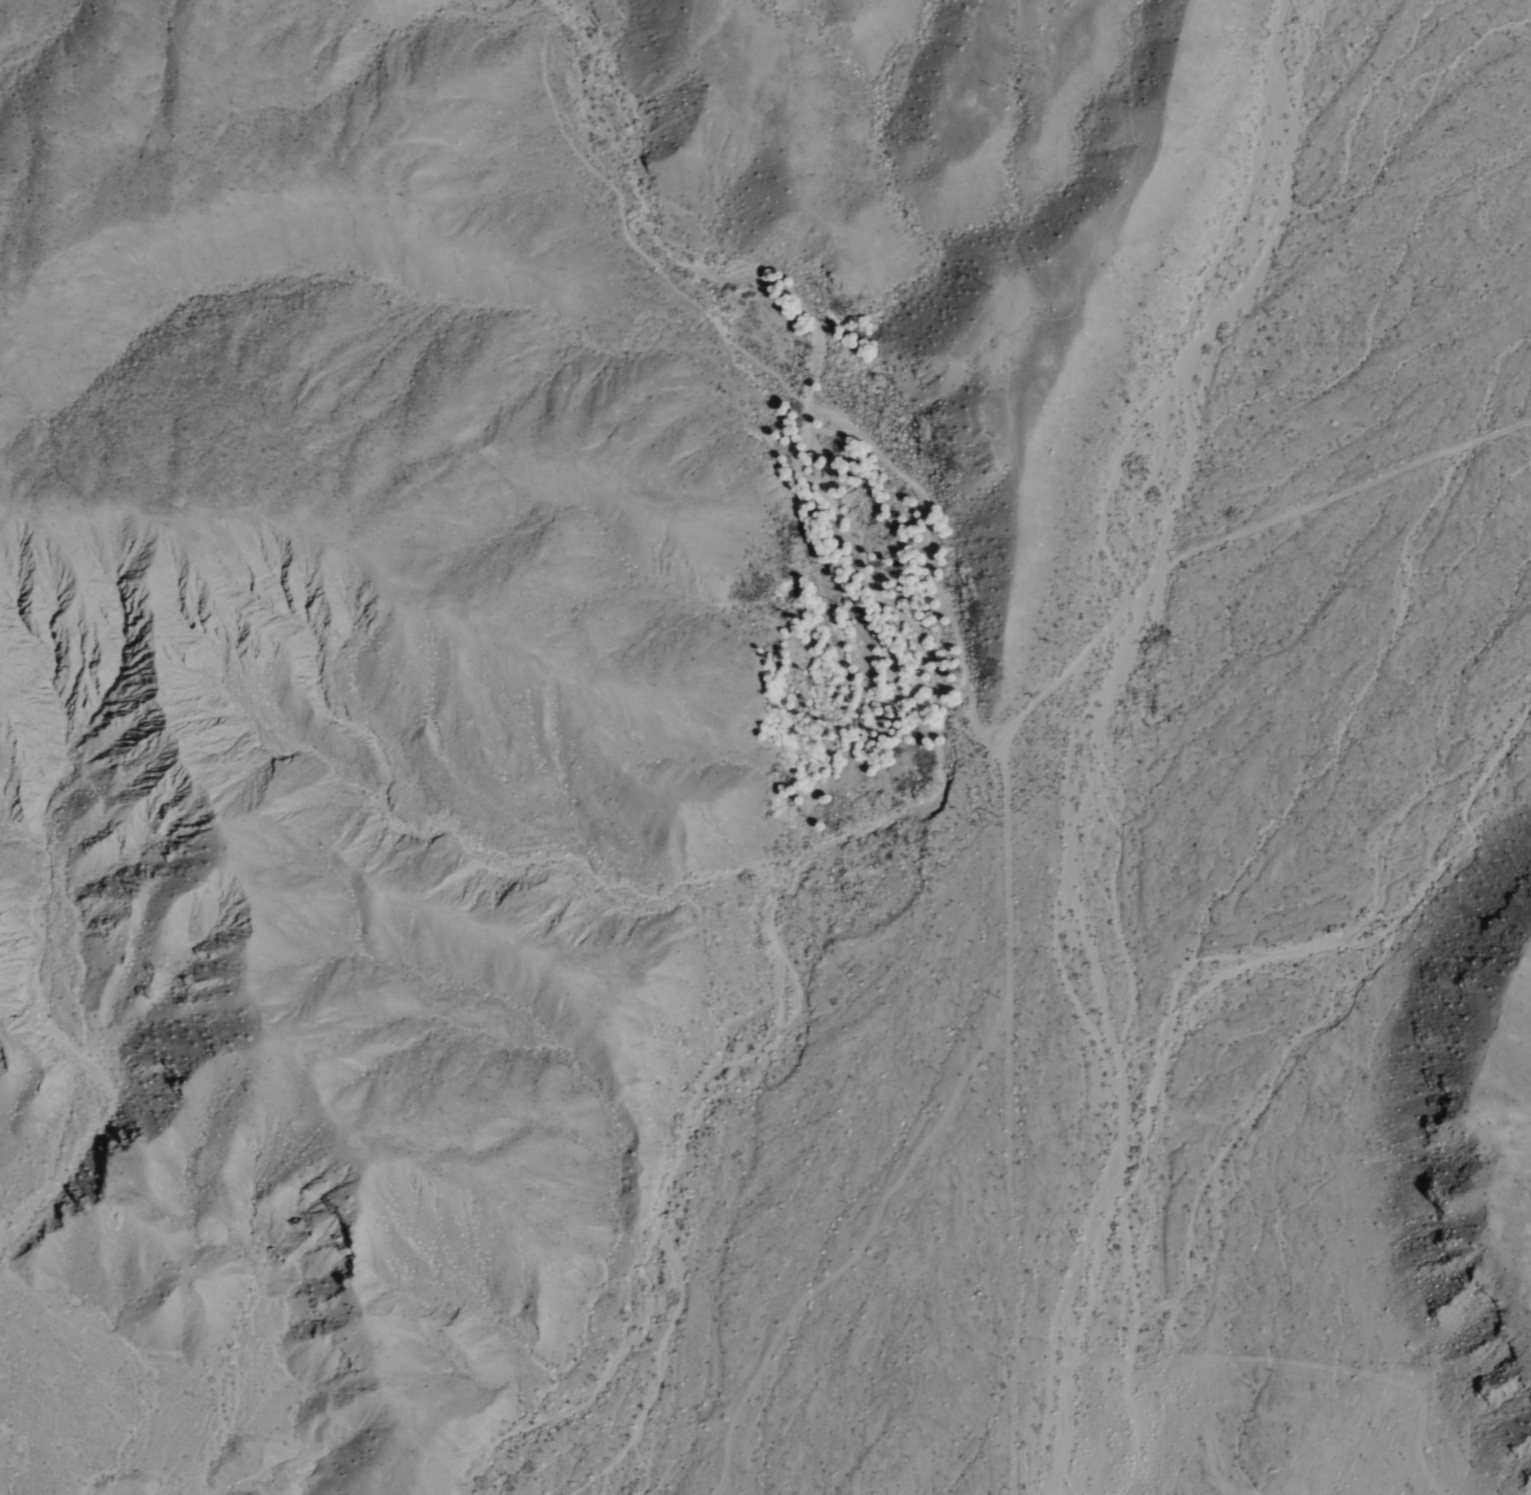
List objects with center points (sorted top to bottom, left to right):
road: (179, 1451)

